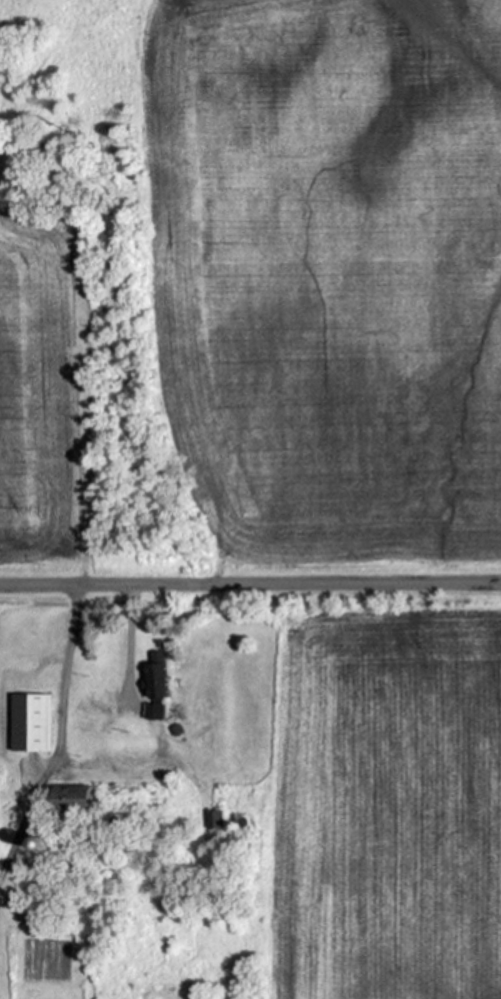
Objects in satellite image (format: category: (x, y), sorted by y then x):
road: (250, 585)
road: (133, 643)
road: (61, 671)
building: (156, 685)
building: (31, 722)
building: (177, 729)
building: (209, 742)
building: (74, 797)
building: (215, 819)
building: (124, 821)
building: (244, 822)
building: (47, 844)

